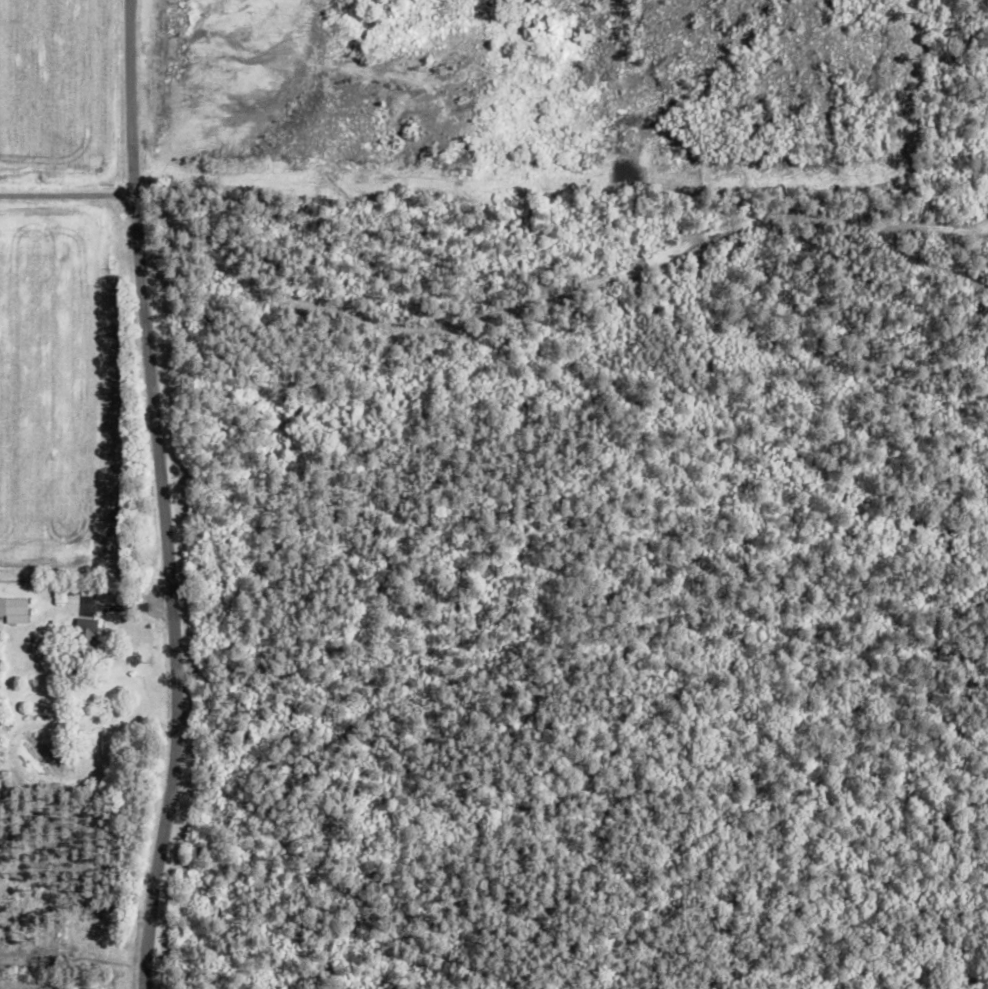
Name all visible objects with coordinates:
road: (58, 194)
road: (156, 493)
building: (13, 610)
building: (85, 630)

